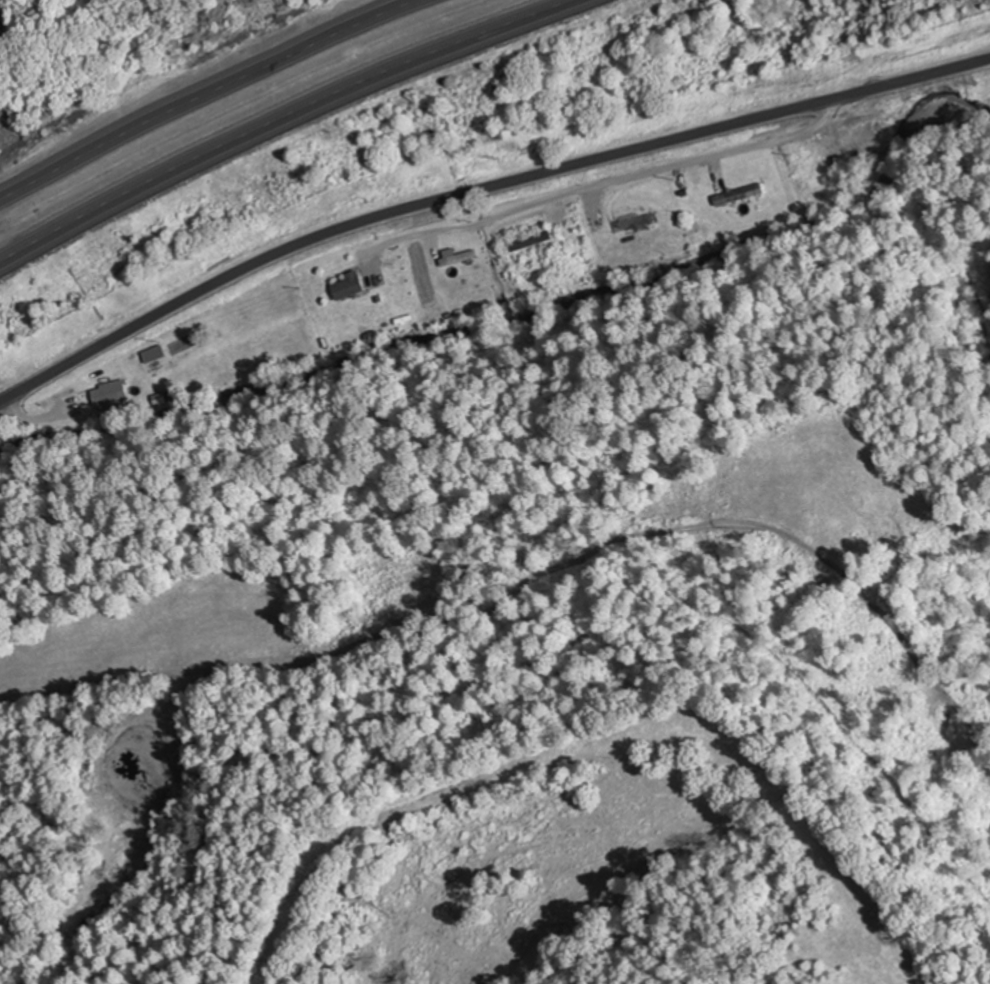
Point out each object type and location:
building: (1, 27)
road: (203, 93)
road: (286, 120)
road: (479, 186)
building: (738, 193)
building: (530, 240)
building: (347, 285)
building: (108, 392)

